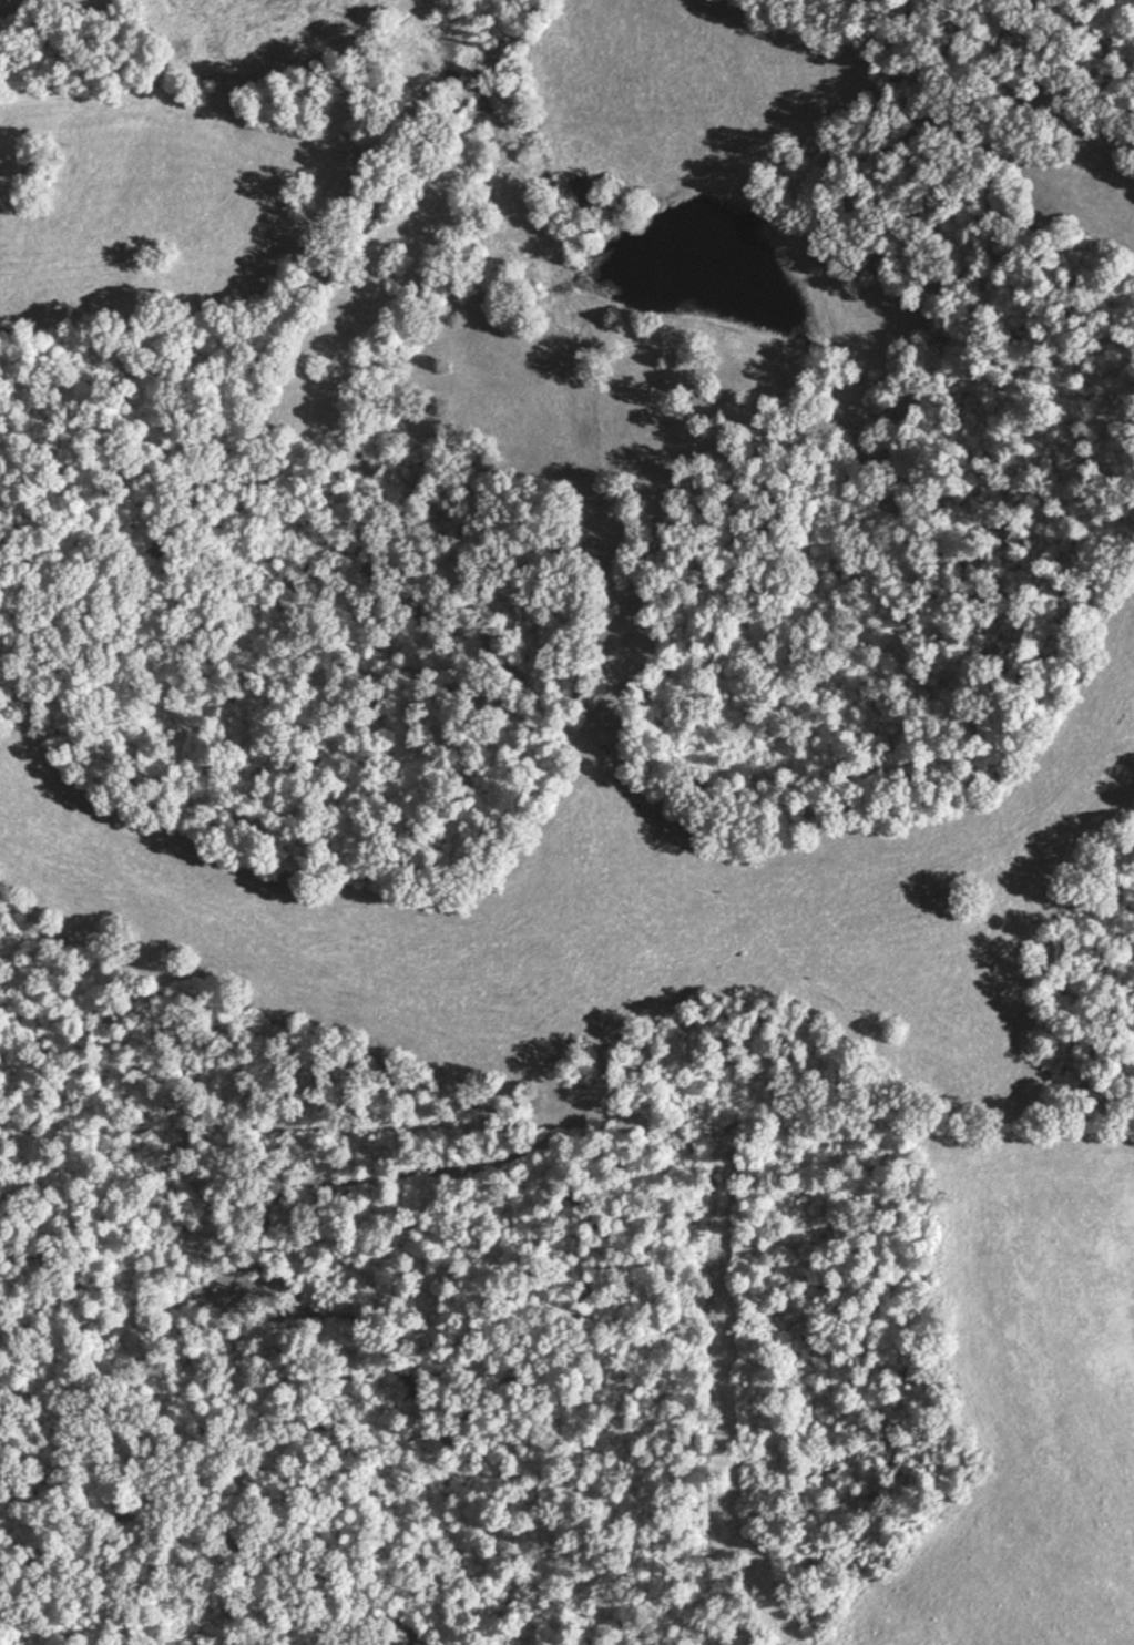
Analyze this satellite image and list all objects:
road: (267, 347)

